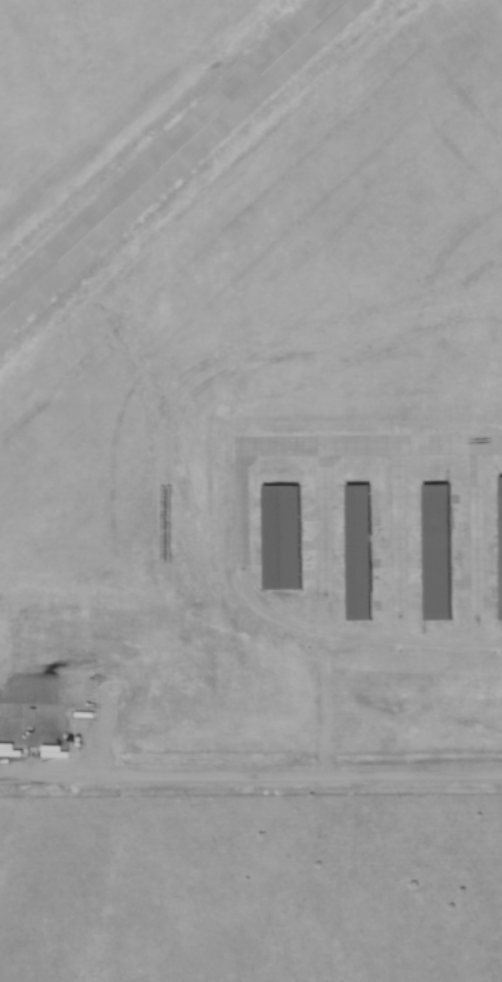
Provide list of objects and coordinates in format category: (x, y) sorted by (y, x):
airport runway: (172, 158)
airport: (251, 378)
airport taxiway: (312, 446)
airport taxiway: (326, 518)
airport taxiway: (401, 528)
airport taxiway: (478, 530)
building: (285, 538)
building: (501, 543)
building: (361, 552)
building: (439, 552)
road: (358, 634)
road: (251, 775)

